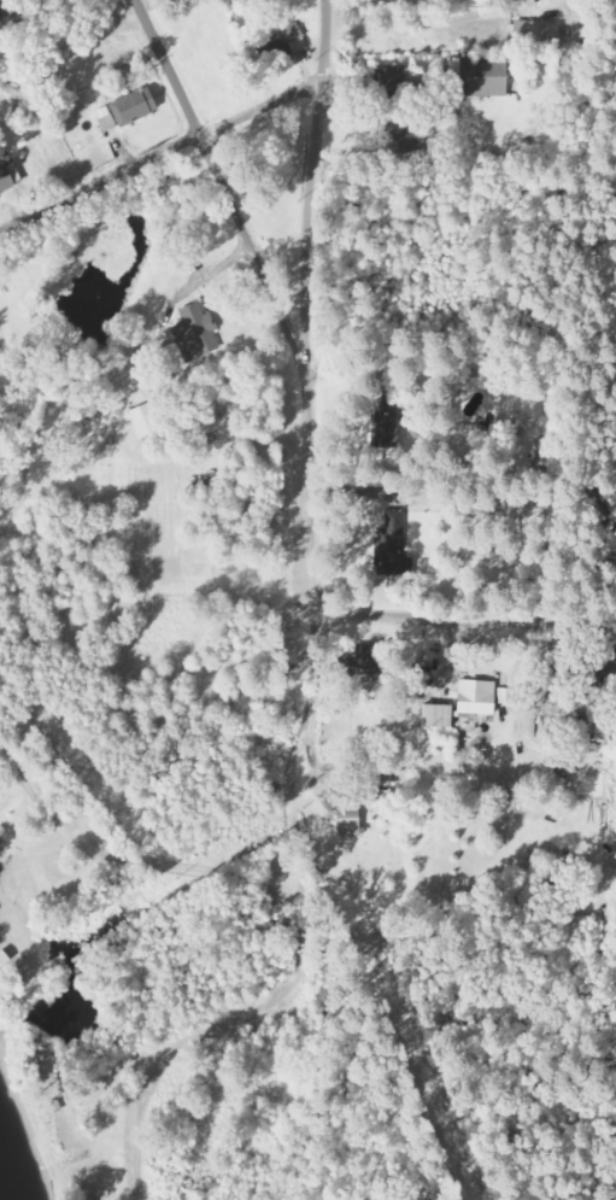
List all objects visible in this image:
building: (1, 22)
building: (535, 30)
building: (294, 40)
building: (479, 74)
building: (133, 106)
road: (210, 127)
building: (8, 177)
road: (233, 183)
building: (198, 329)
building: (175, 355)
building: (382, 427)
road: (317, 466)
building: (392, 543)
road: (468, 625)
building: (357, 666)
building: (476, 696)
building: (438, 714)
building: (347, 820)
road: (199, 1048)

